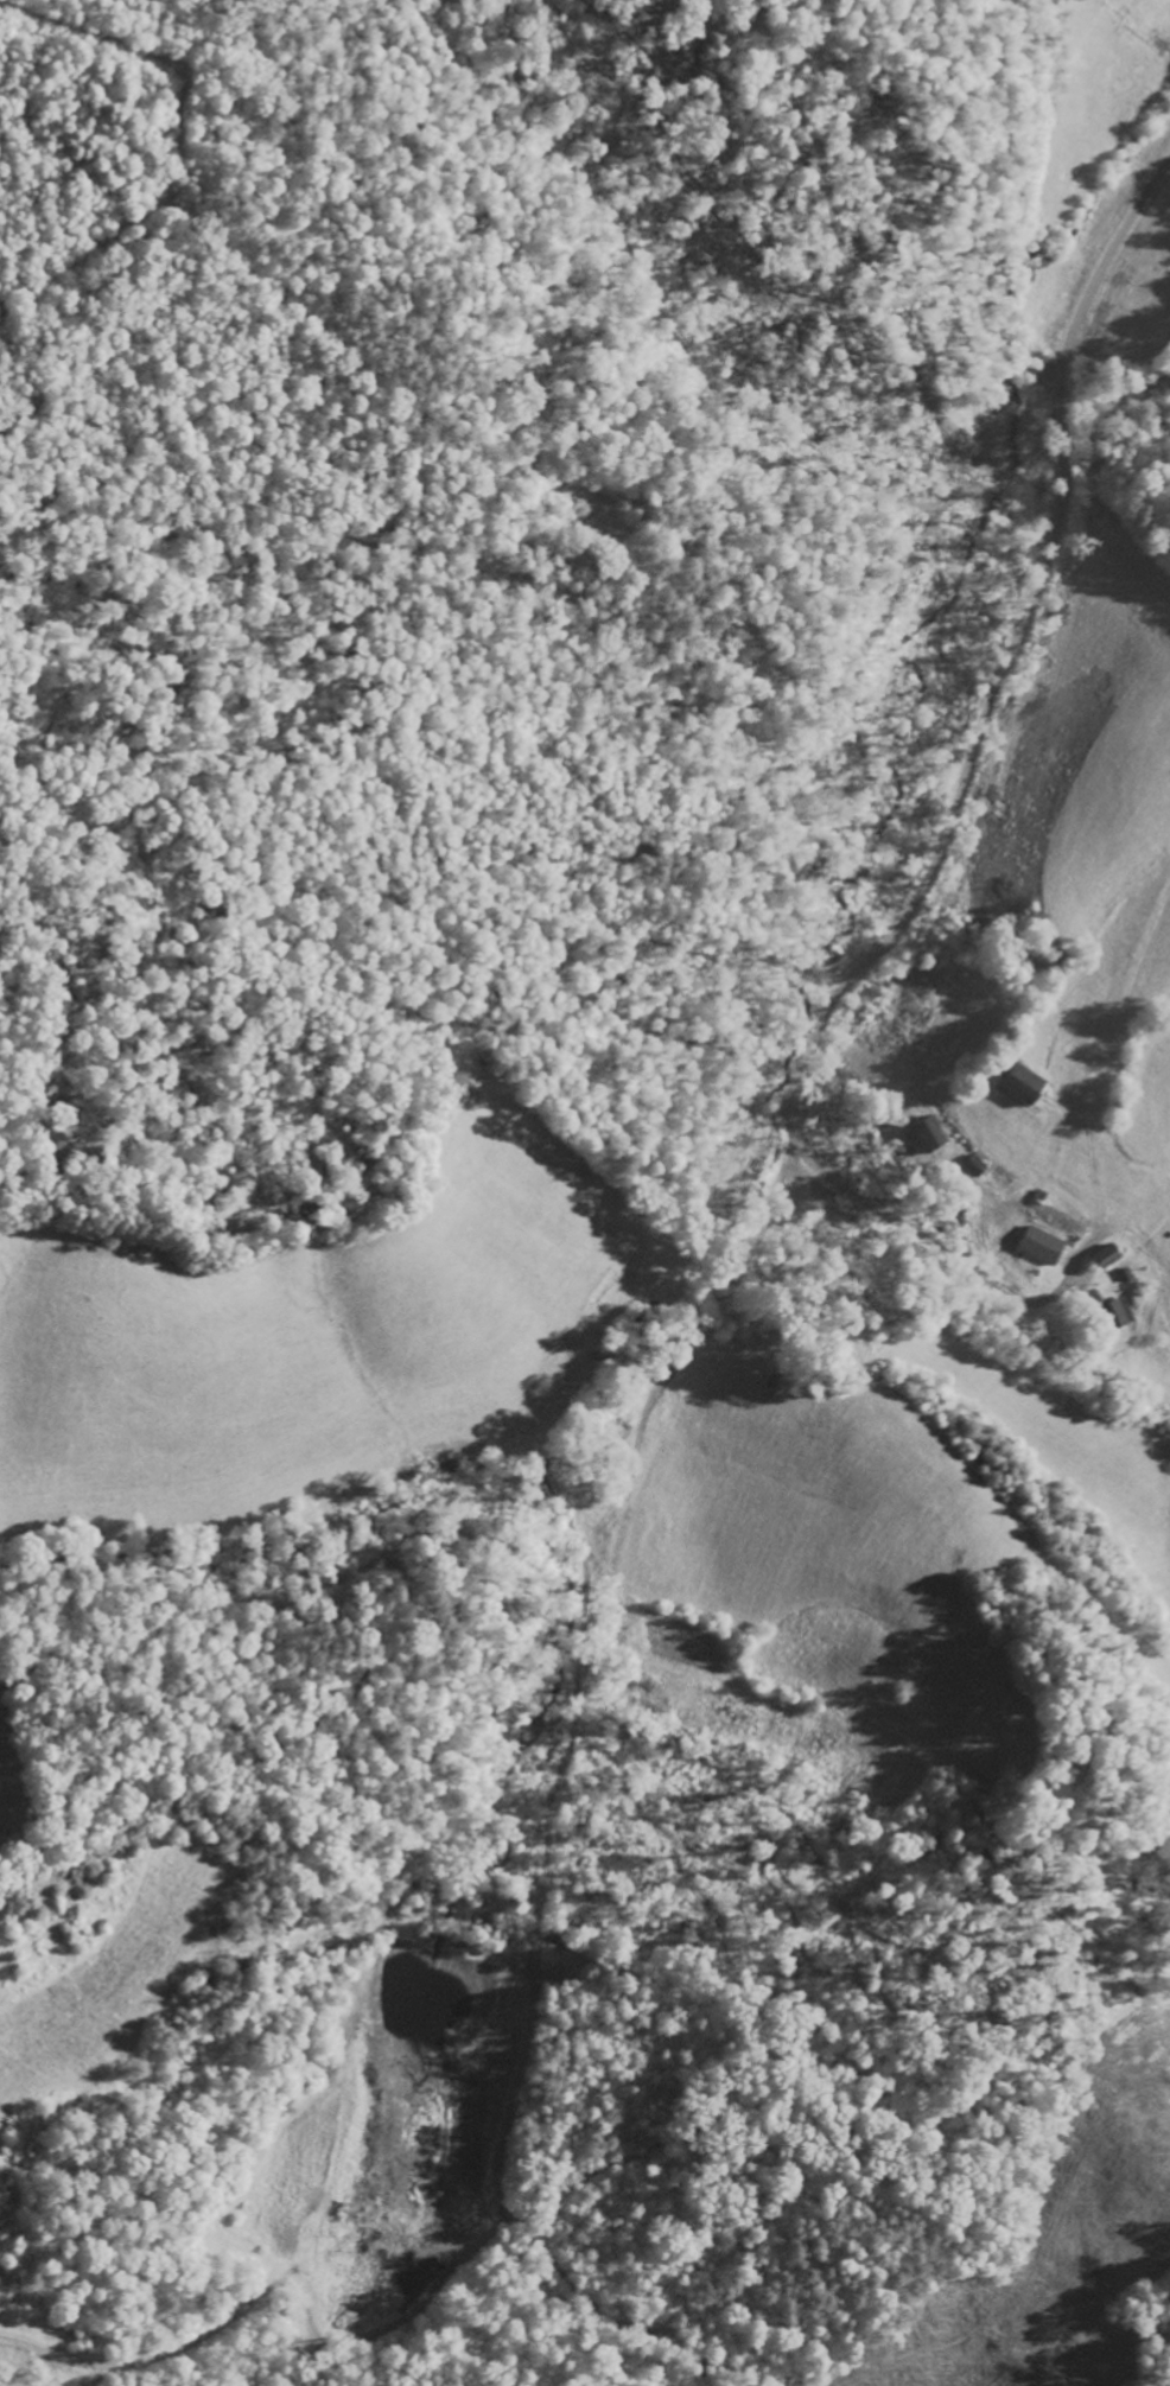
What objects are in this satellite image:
road: (946, 826)
building: (1016, 1083)
building: (923, 1133)
building: (1038, 1245)
building: (1102, 1256)
building: (1115, 1311)
road: (1074, 2250)

